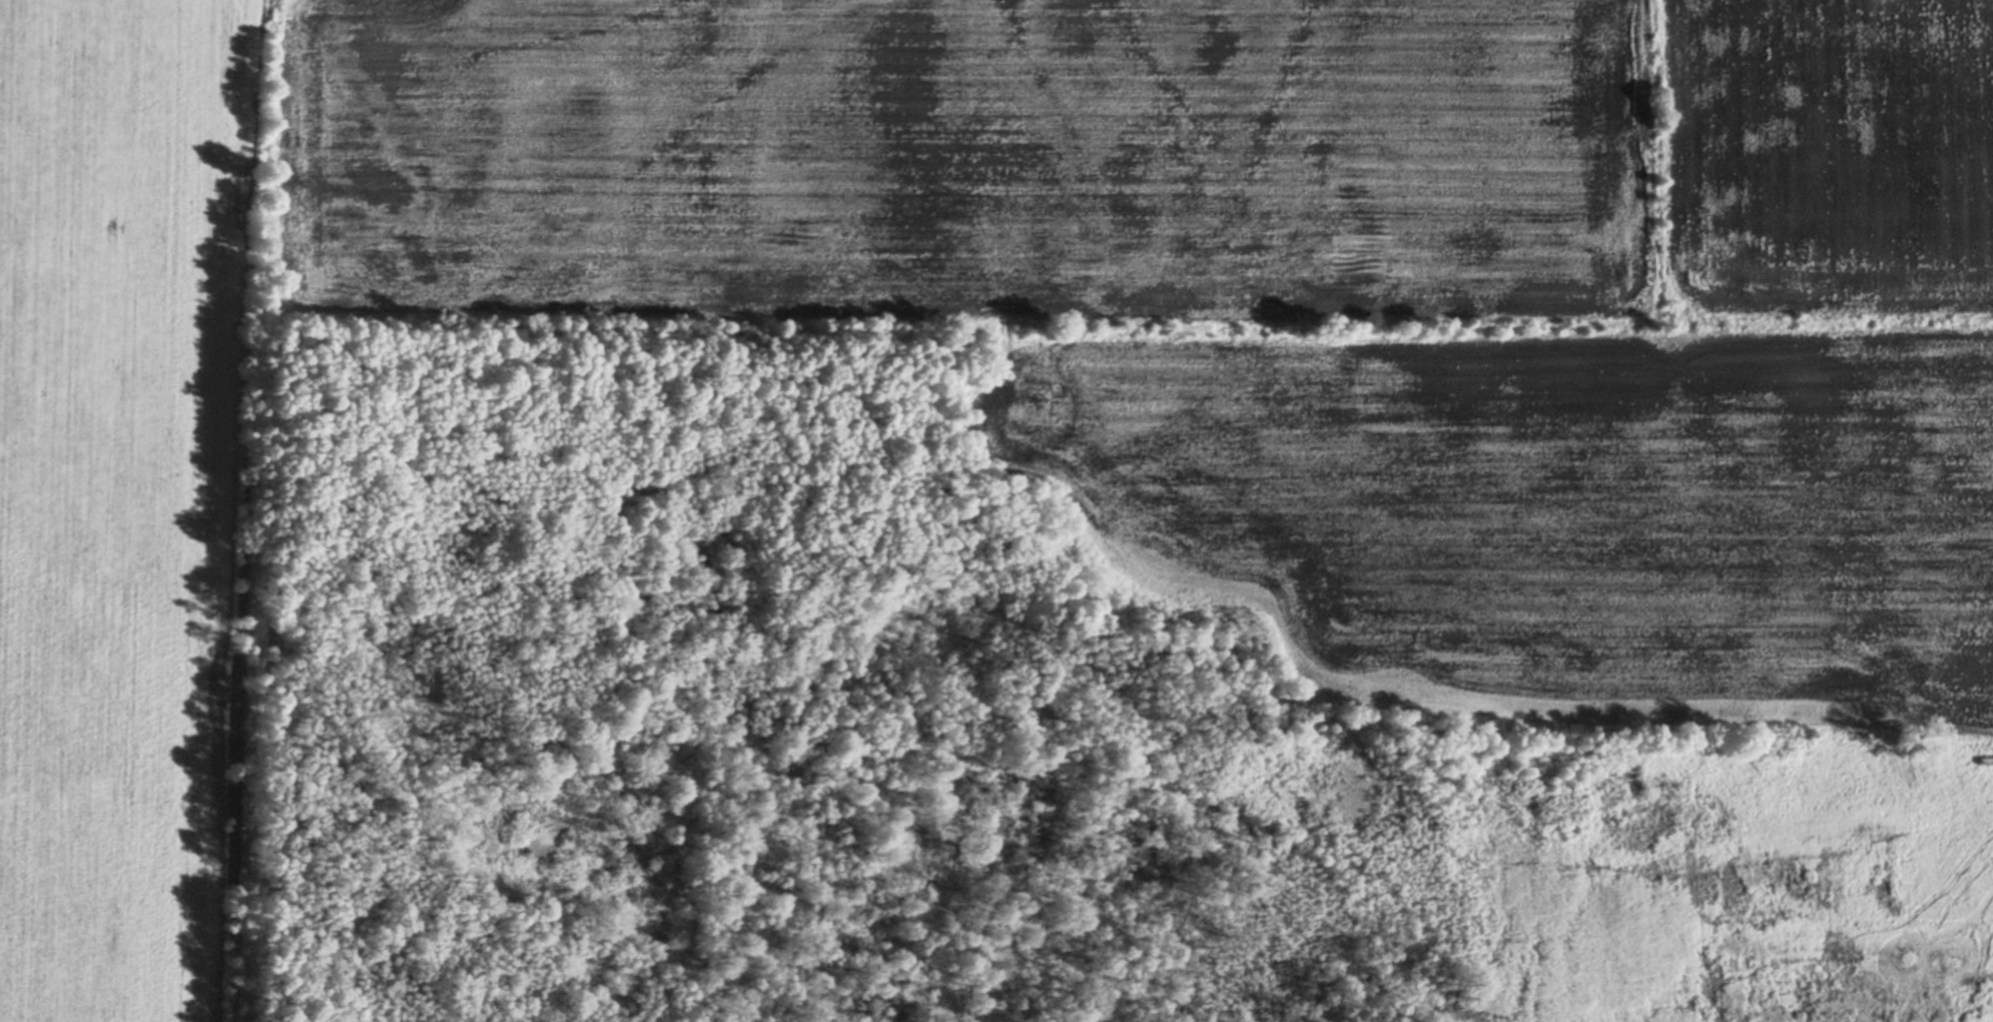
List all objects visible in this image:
building: (1986, 759)

